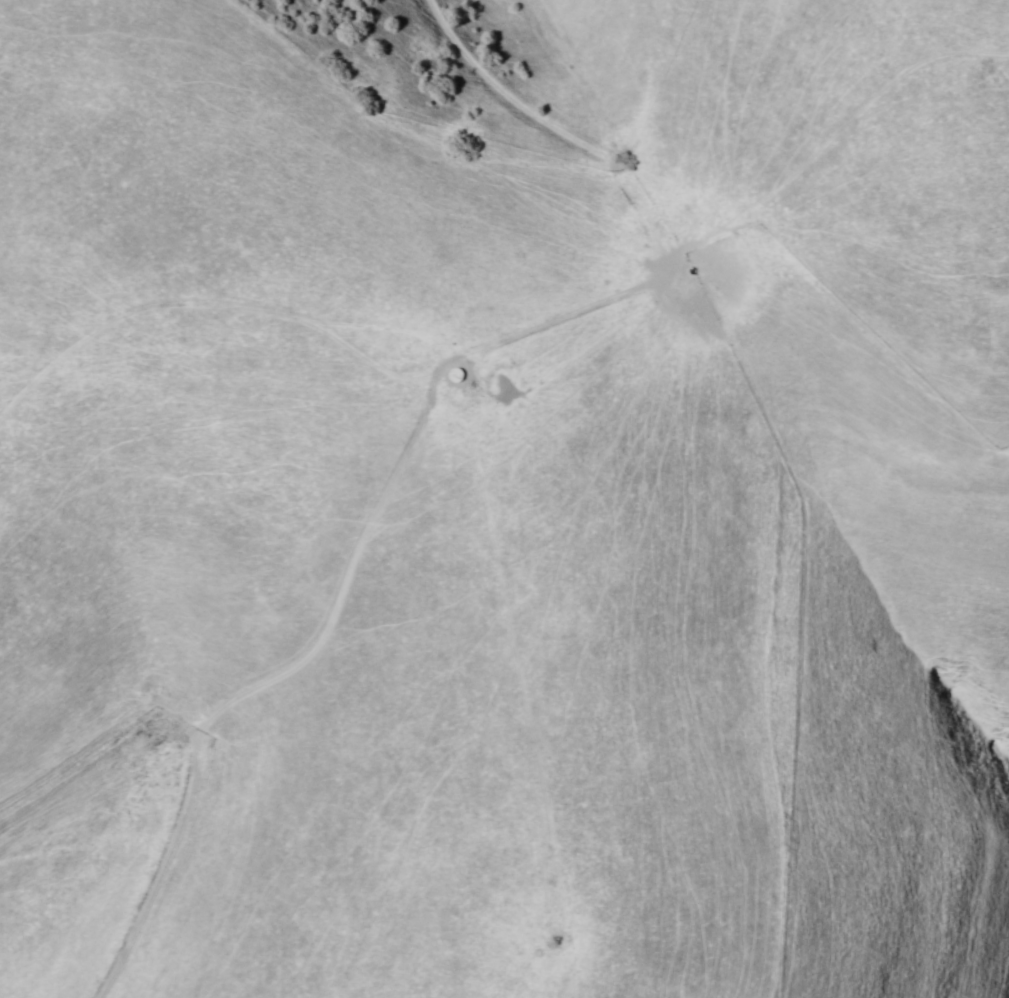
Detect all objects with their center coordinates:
road: (656, 116)
road: (199, 790)
building: (535, 952)
storage tank: (535, 952)

